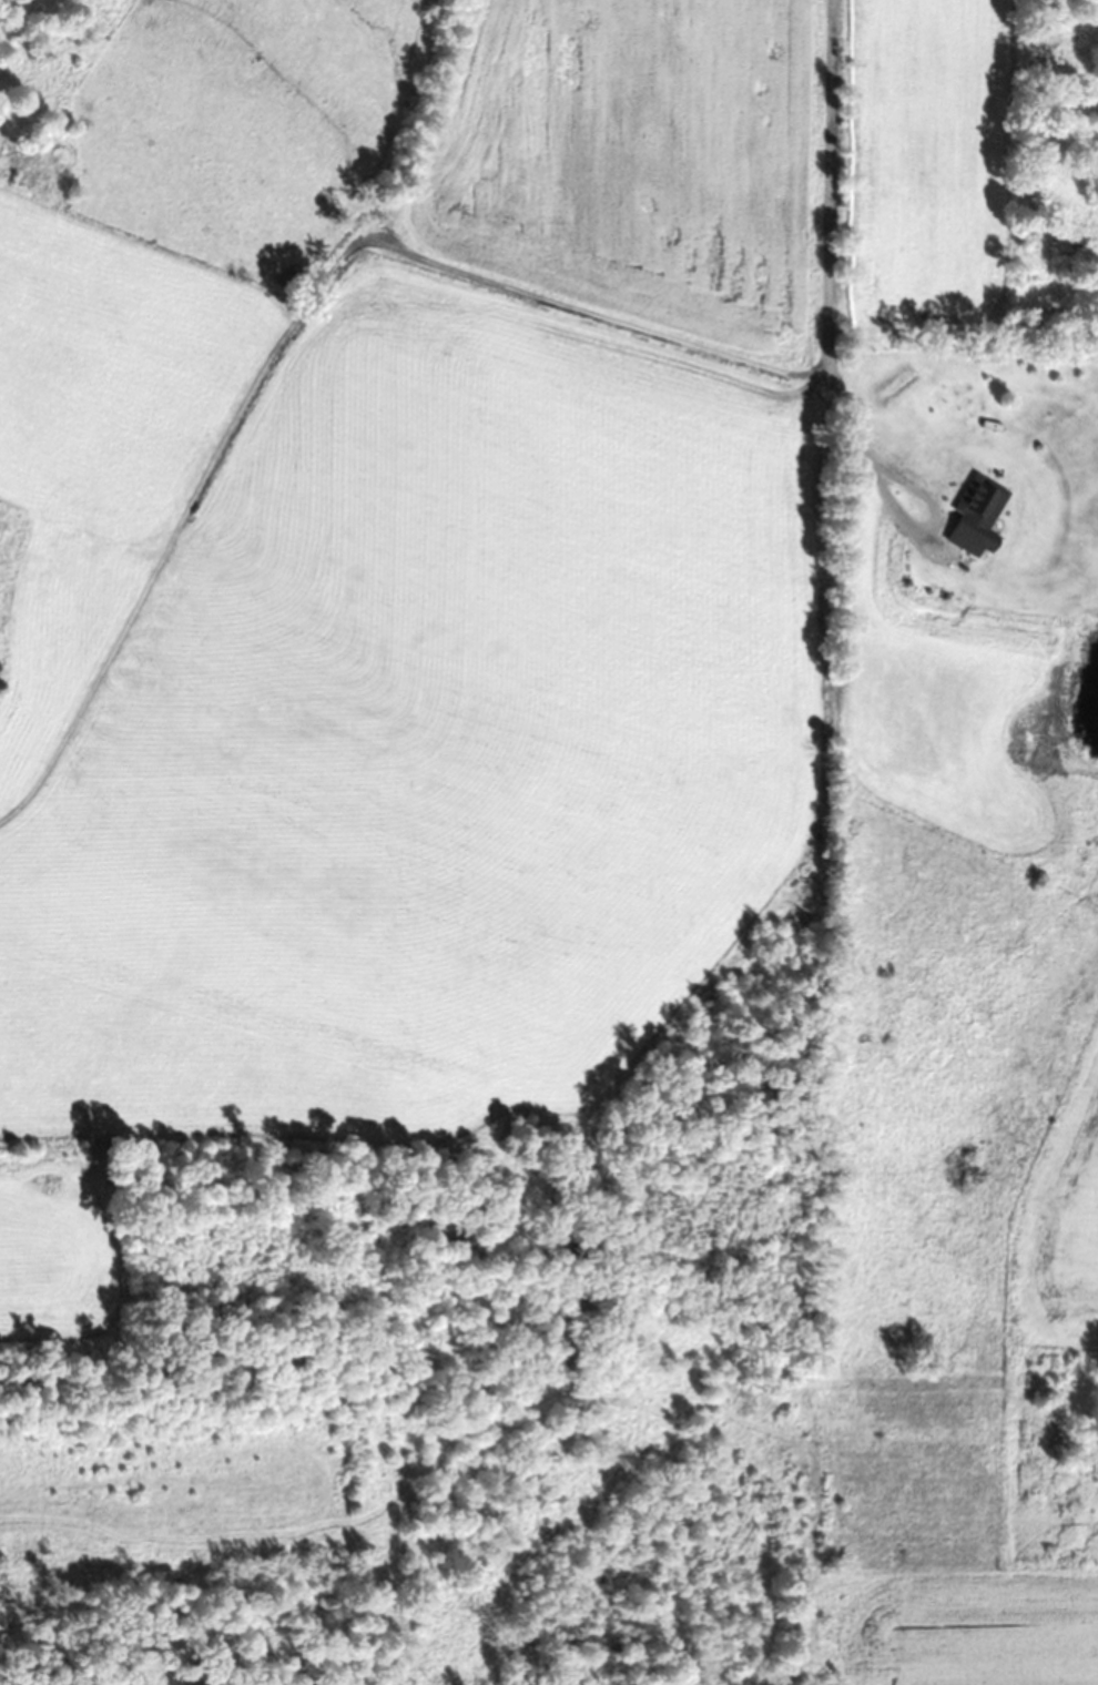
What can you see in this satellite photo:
building: (976, 516)

